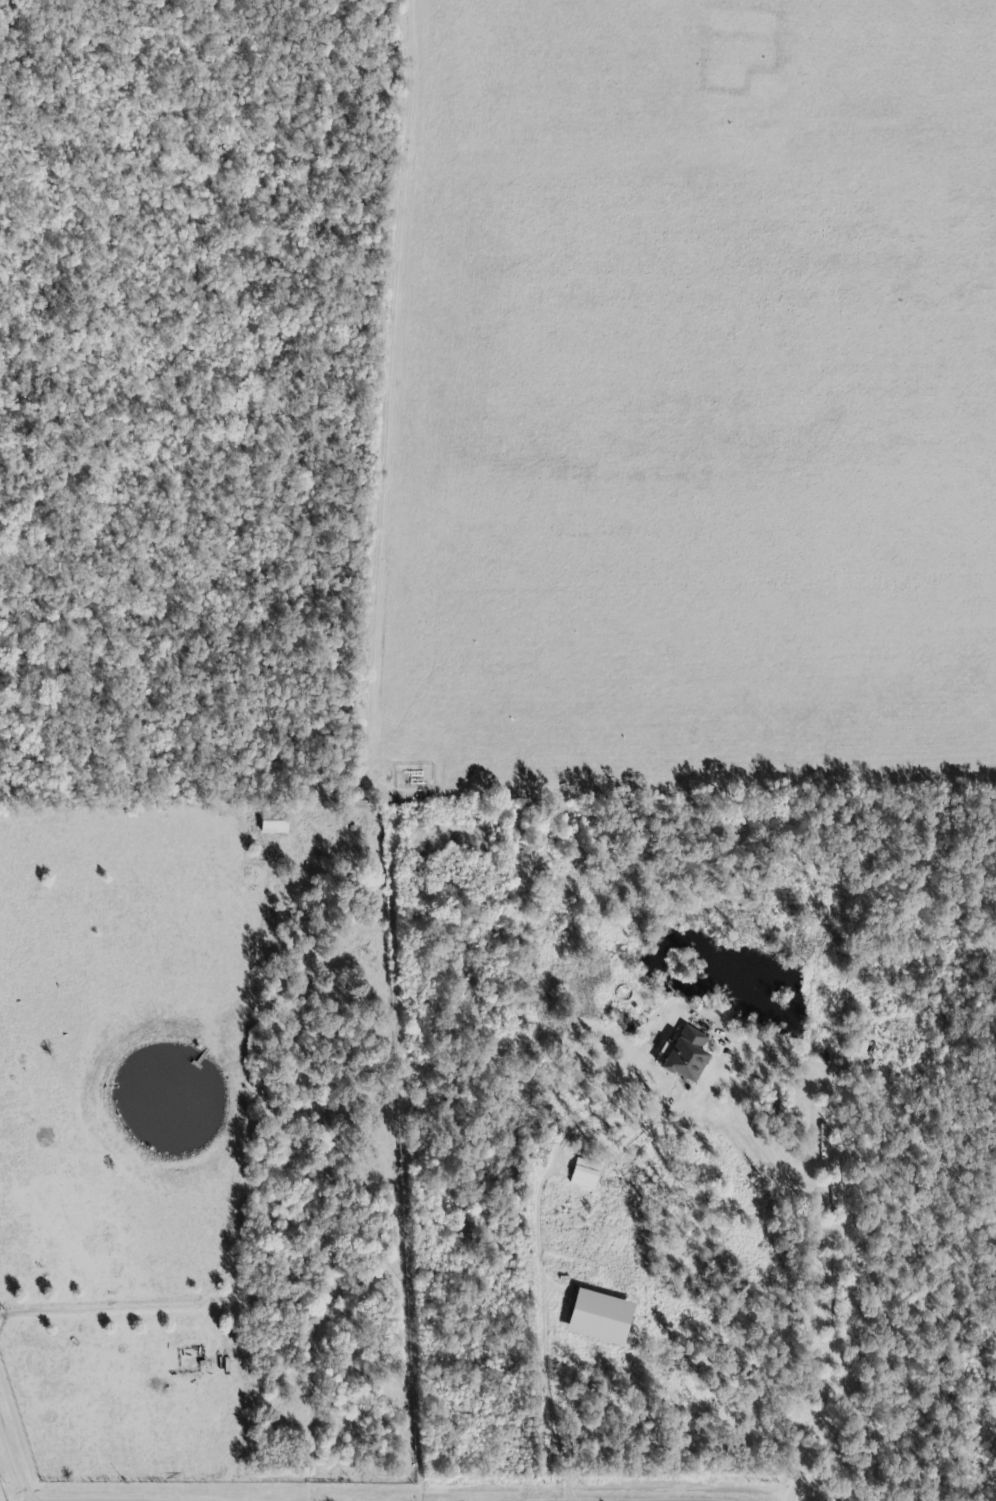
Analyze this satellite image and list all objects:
building: (275, 823)
building: (684, 1055)
road: (736, 1102)
building: (586, 1174)
road: (831, 1288)
building: (602, 1318)
road: (545, 1328)
road: (18, 1445)

